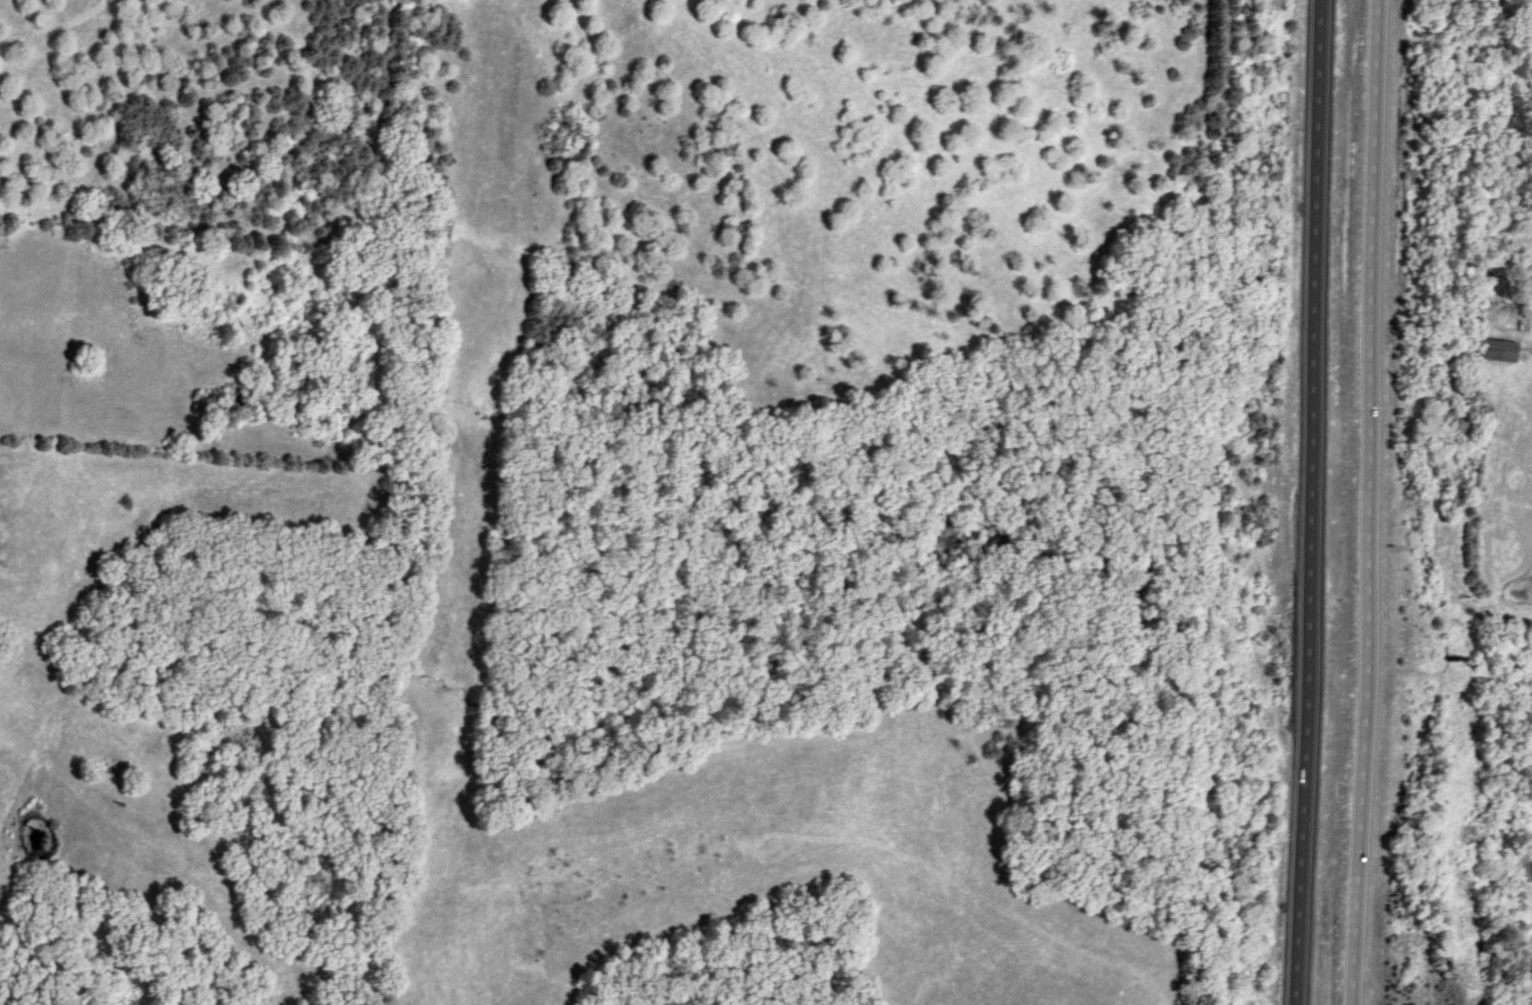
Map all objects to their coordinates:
road: (1531, 341)
building: (1492, 351)
road: (1315, 502)
road: (1376, 502)

